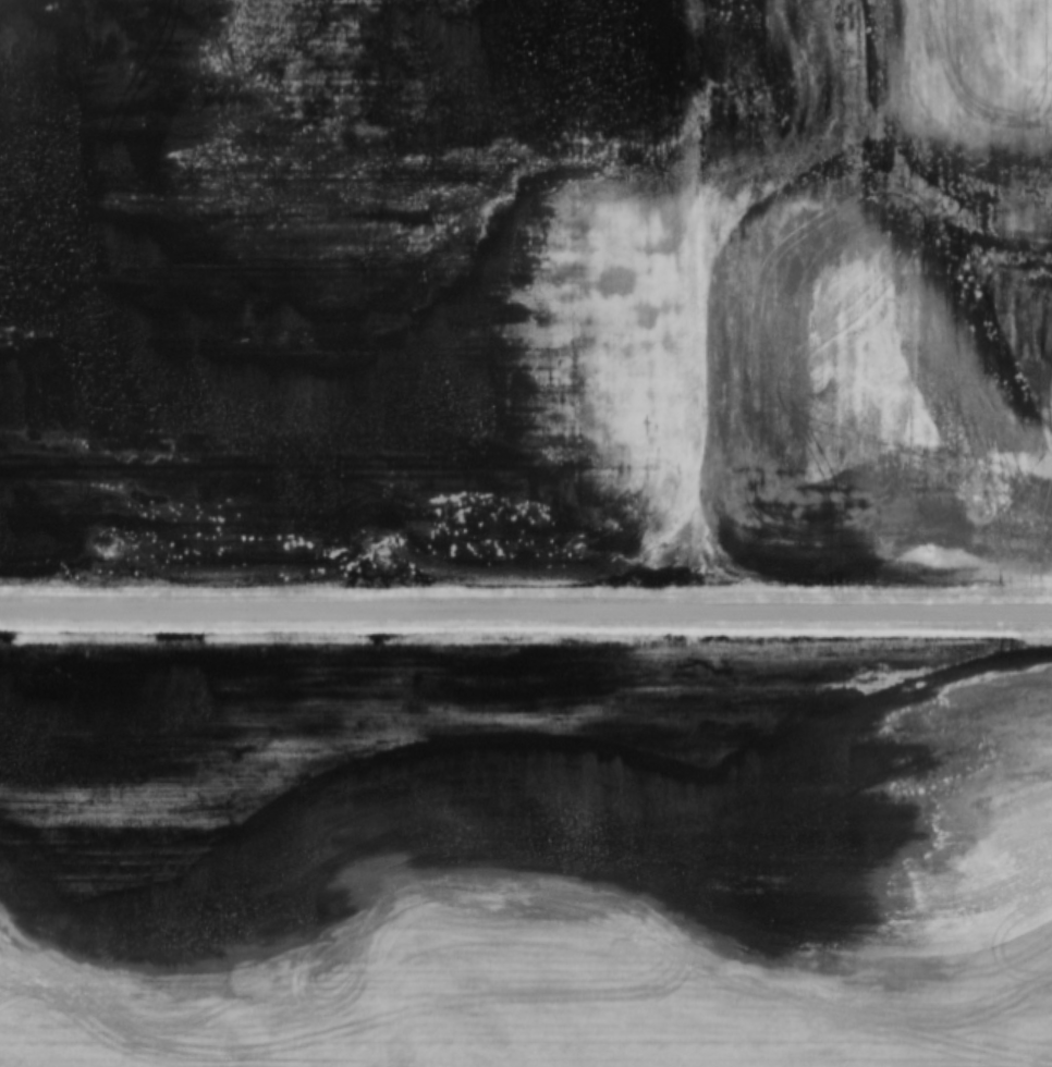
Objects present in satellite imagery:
road: (526, 613)

